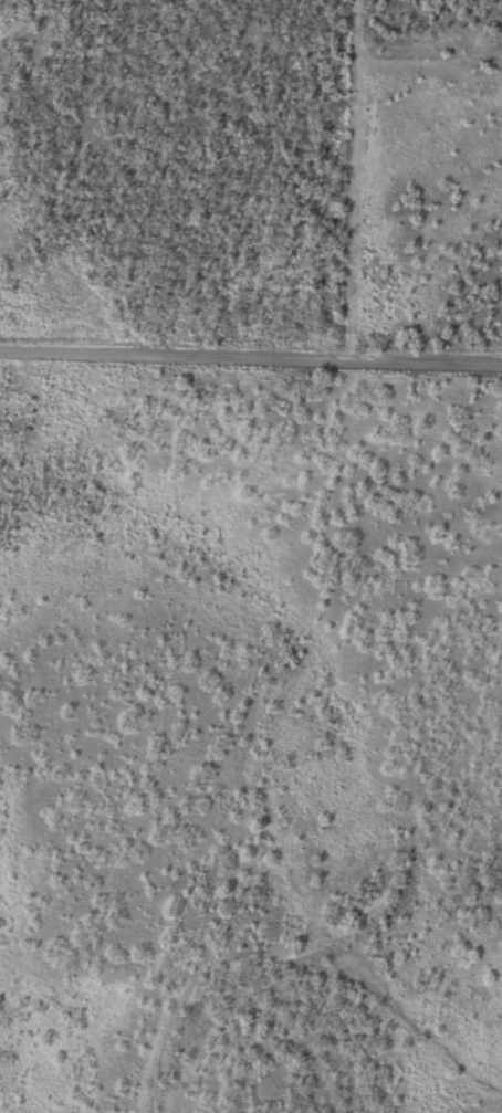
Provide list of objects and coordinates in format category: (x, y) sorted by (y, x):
road: (251, 354)

